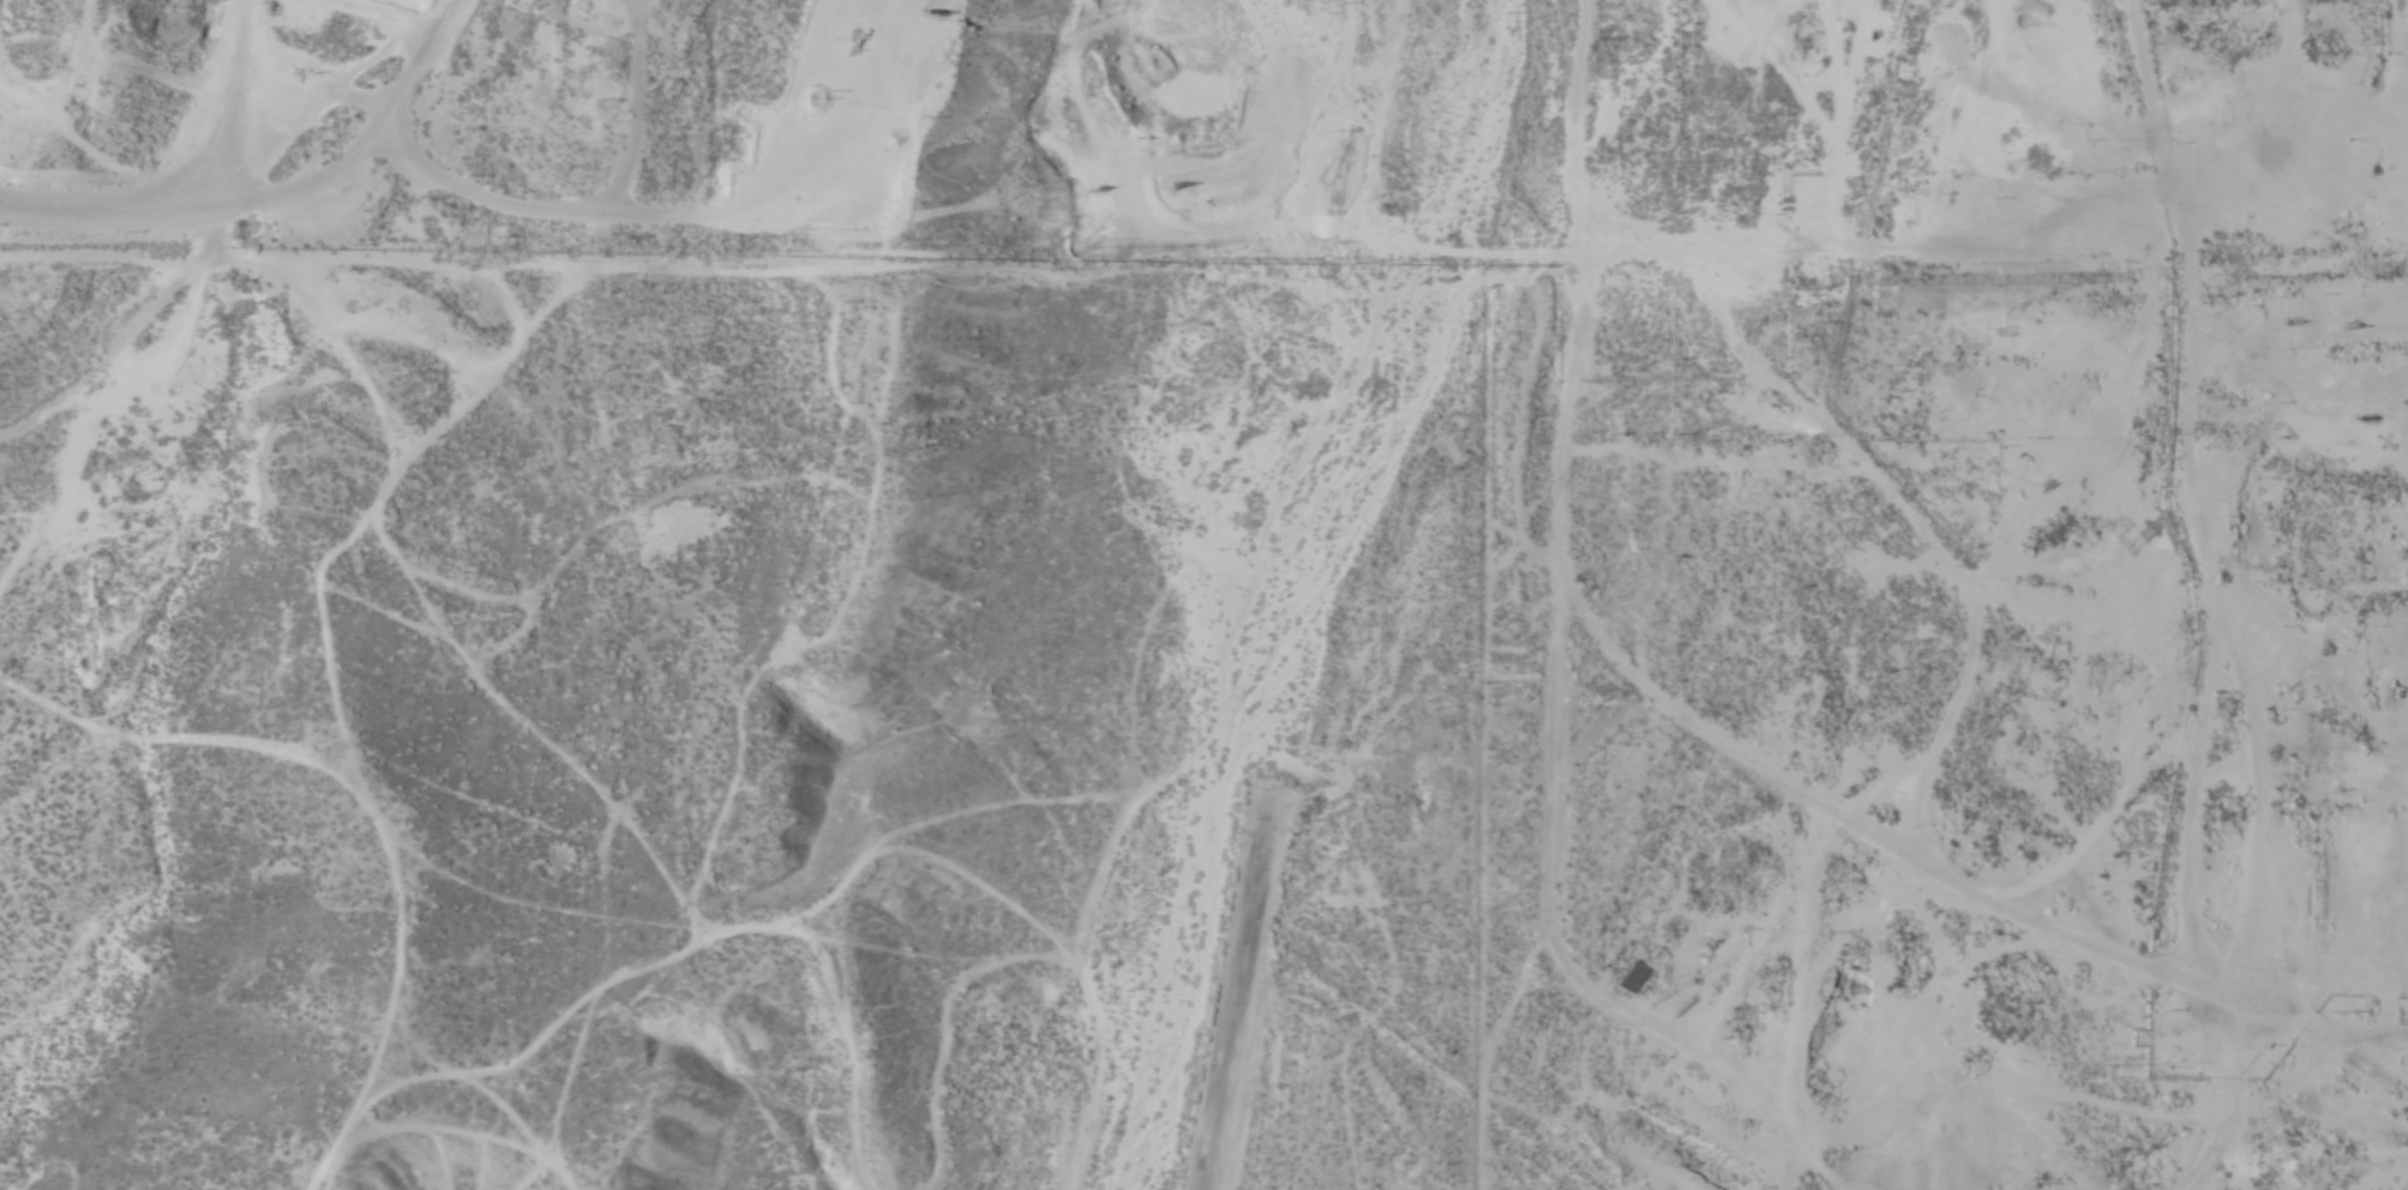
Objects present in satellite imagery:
road: (227, 218)
airport: (1235, 987)

